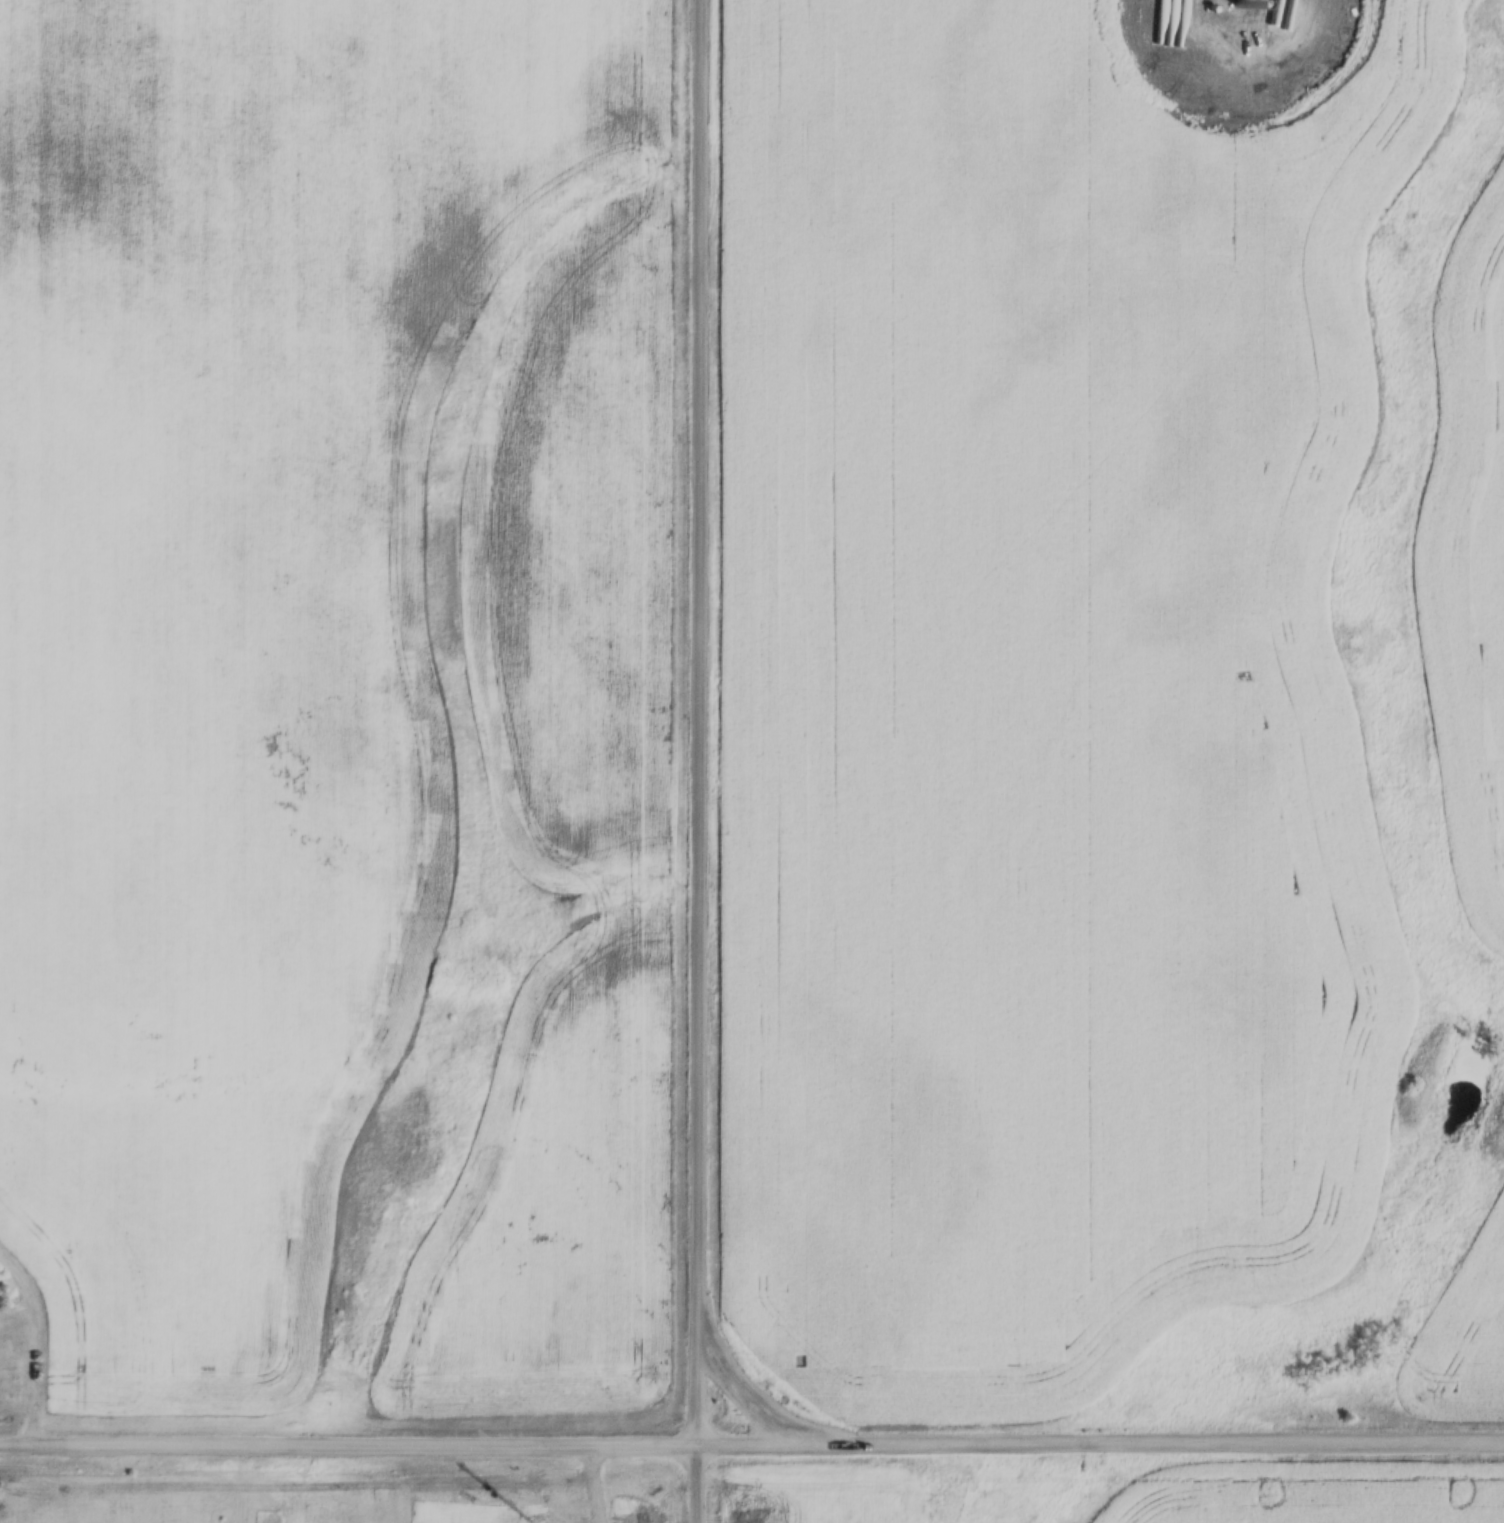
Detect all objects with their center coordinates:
road: (701, 761)
road: (752, 1444)
road: (596, 1484)

